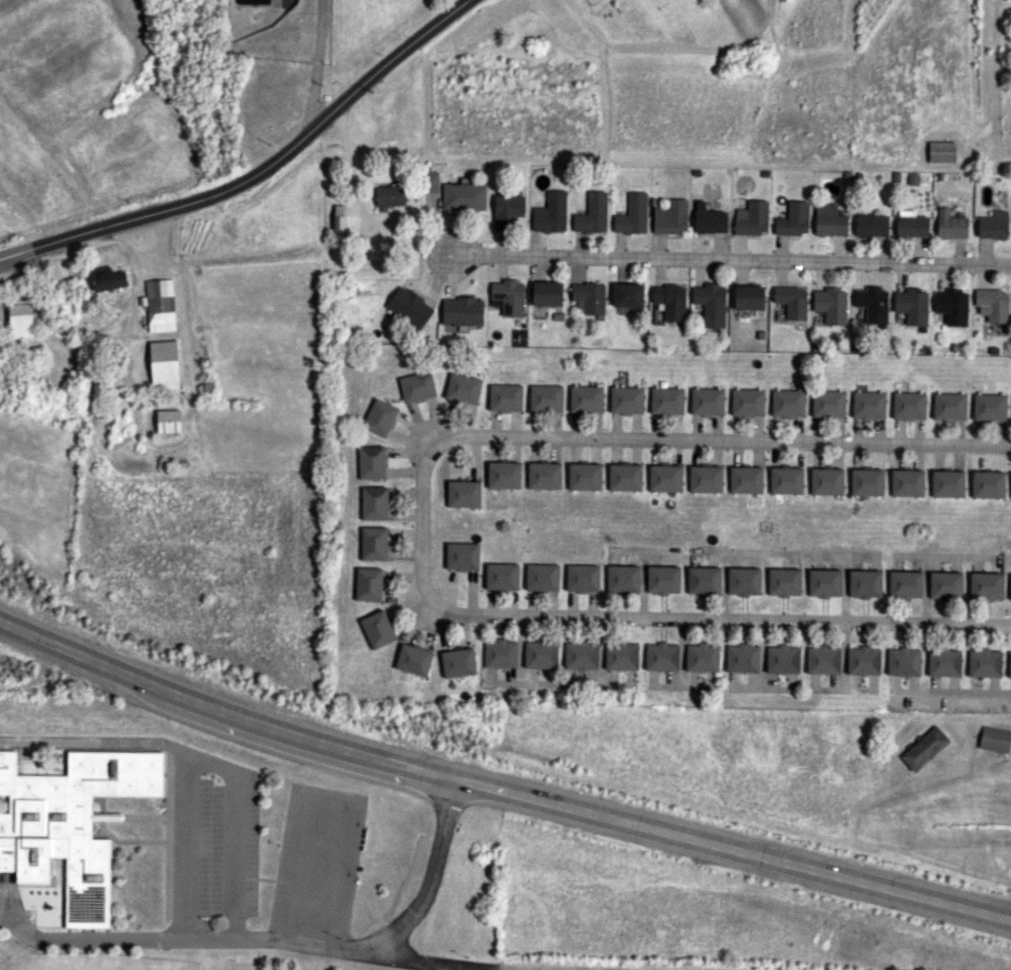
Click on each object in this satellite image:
building: (253, 1)
road: (316, 64)
building: (941, 152)
road: (350, 157)
road: (257, 172)
building: (429, 181)
building: (390, 196)
building: (463, 196)
building: (507, 210)
building: (550, 213)
building: (592, 214)
building: (632, 214)
building: (671, 216)
building: (751, 218)
building: (340, 219)
building: (708, 219)
building: (793, 219)
building: (829, 220)
building: (911, 224)
building: (871, 225)
building: (950, 225)
building: (993, 225)
road: (155, 238)
road: (729, 262)
building: (108, 278)
building: (547, 293)
building: (627, 295)
building: (509, 296)
building: (588, 297)
building: (749, 297)
building: (670, 300)
building: (791, 301)
building: (710, 303)
building: (872, 303)
building: (159, 304)
building: (831, 304)
building: (992, 304)
building: (911, 305)
building: (952, 306)
building: (410, 307)
building: (462, 311)
building: (20, 320)
building: (163, 365)
building: (416, 386)
building: (463, 388)
building: (505, 397)
building: (545, 397)
building: (586, 398)
building: (626, 399)
building: (666, 400)
building: (707, 401)
building: (747, 401)
building: (787, 402)
building: (827, 403)
building: (868, 404)
building: (908, 405)
building: (948, 405)
building: (989, 406)
building: (379, 417)
building: (168, 420)
building: (371, 462)
building: (503, 474)
building: (544, 475)
building: (584, 476)
building: (624, 477)
building: (665, 478)
building: (705, 478)
building: (745, 479)
building: (786, 480)
building: (826, 481)
building: (866, 481)
building: (907, 482)
building: (947, 483)
building: (987, 484)
building: (463, 493)
building: (374, 502)
road: (422, 526)
building: (373, 543)
building: (462, 555)
building: (501, 576)
building: (542, 577)
building: (622, 577)
building: (582, 578)
building: (663, 579)
building: (703, 580)
building: (743, 581)
building: (784, 581)
building: (824, 582)
building: (864, 583)
building: (368, 584)
building: (905, 584)
building: (945, 584)
building: (985, 585)
building: (1010, 587)
building: (377, 629)
building: (500, 653)
building: (540, 654)
building: (581, 655)
building: (621, 655)
building: (661, 656)
building: (702, 657)
building: (742, 658)
building: (413, 659)
building: (782, 659)
building: (823, 659)
building: (863, 660)
building: (903, 661)
building: (458, 662)
building: (943, 662)
building: (984, 663)
building: (1009, 664)
road: (952, 692)
building: (995, 738)
road: (98, 740)
building: (924, 748)
road: (205, 762)
road: (500, 786)
building: (66, 827)
road: (282, 942)

